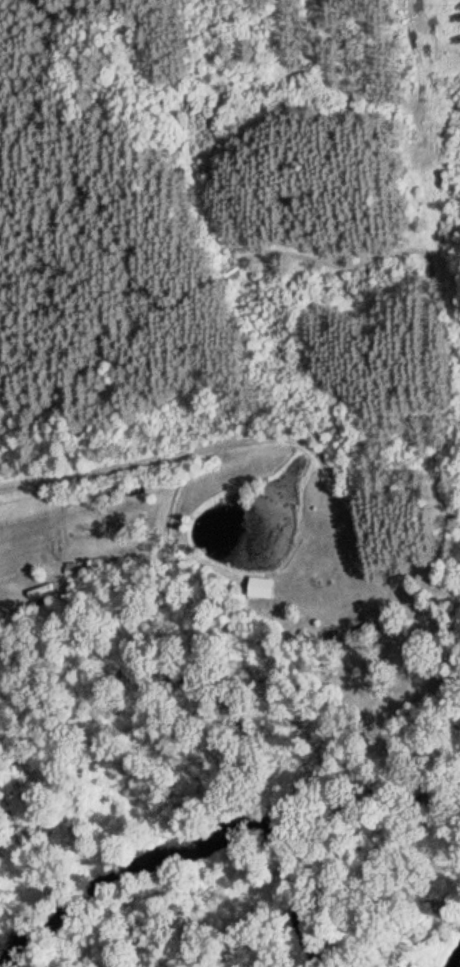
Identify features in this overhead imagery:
road: (251, 438)
building: (105, 496)
building: (78, 570)
building: (42, 602)
building: (363, 631)
building: (333, 641)
river: (196, 841)
river: (456, 961)

